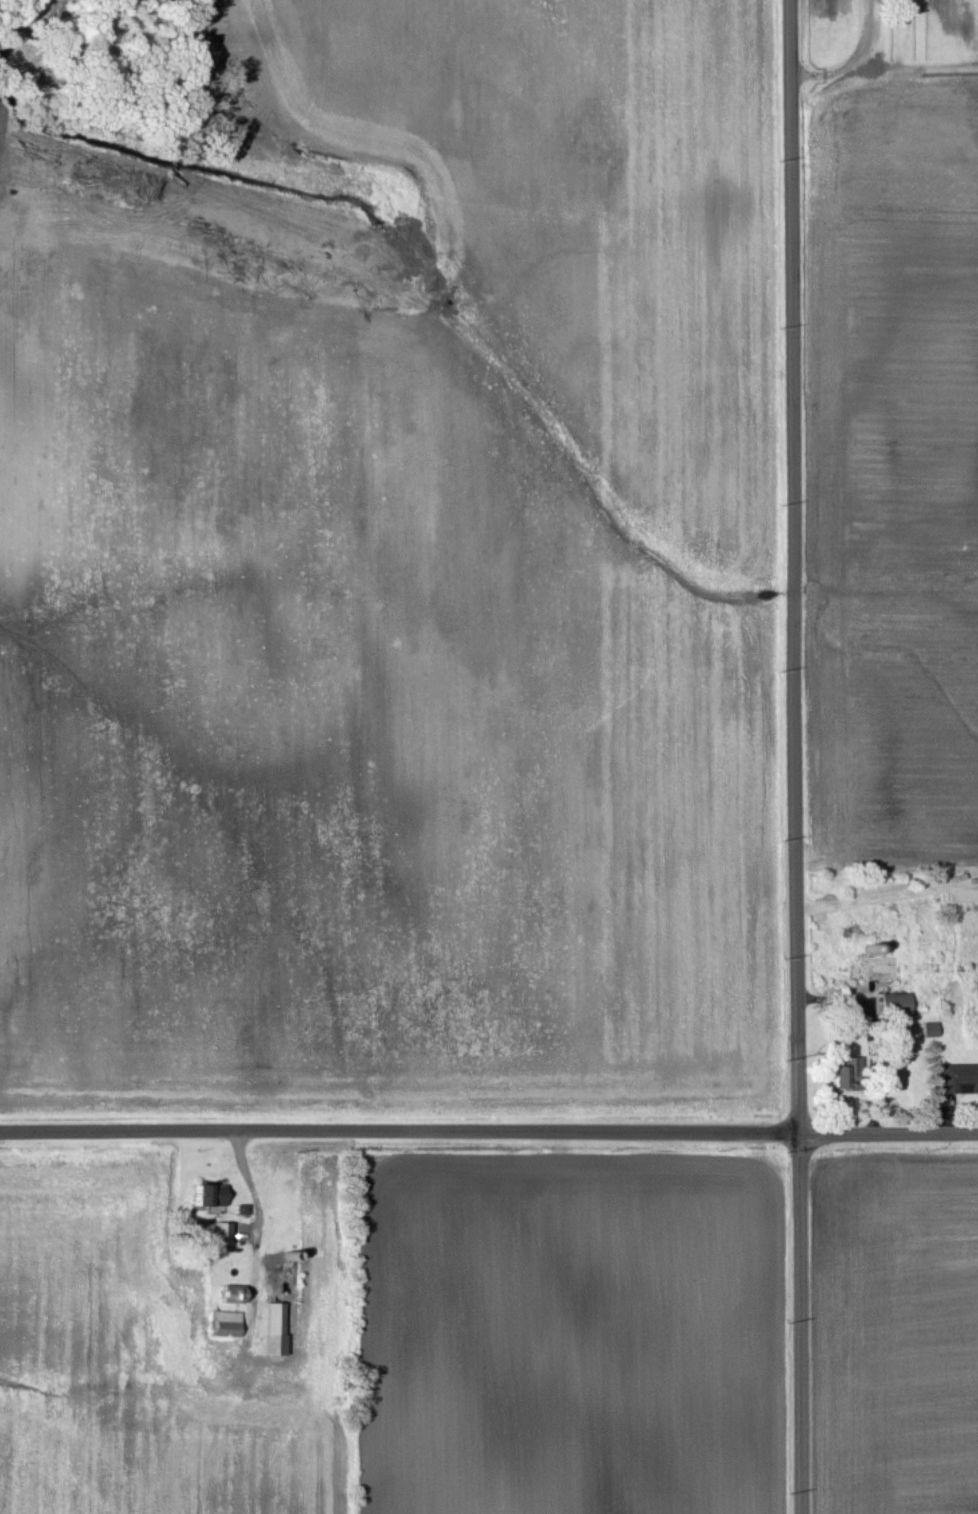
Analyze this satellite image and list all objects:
road: (851, 61)
road: (797, 756)
building: (899, 1005)
building: (932, 1030)
road: (870, 1036)
building: (958, 1080)
road: (489, 1133)
building: (211, 1194)
building: (224, 1235)
building: (231, 1295)
building: (227, 1325)
building: (277, 1330)

